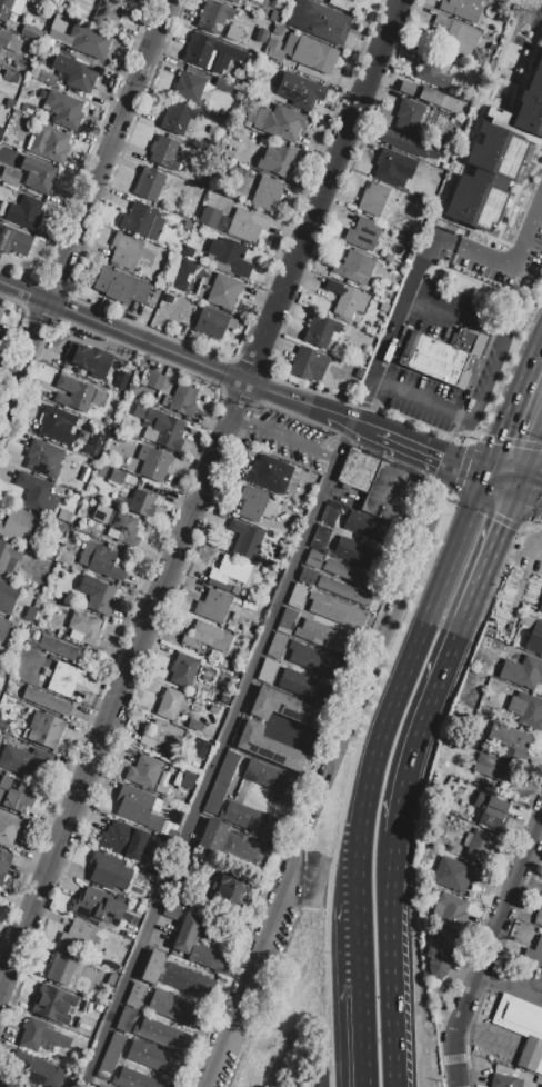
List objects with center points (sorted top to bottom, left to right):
building: (233, 1)
building: (343, 4)
building: (10, 8)
building: (462, 9)
building: (107, 13)
building: (273, 14)
building: (213, 16)
building: (319, 20)
building: (278, 29)
building: (31, 32)
building: (232, 33)
building: (261, 34)
building: (77, 37)
building: (455, 37)
building: (9, 41)
building: (303, 52)
building: (210, 53)
building: (431, 69)
building: (80, 78)
building: (188, 87)
building: (223, 89)
building: (295, 91)
building: (429, 96)
building: (531, 97)
building: (63, 109)
building: (408, 116)
building: (177, 118)
building: (281, 122)
building: (49, 143)
building: (232, 143)
building: (406, 144)
building: (163, 152)
building: (229, 152)
building: (277, 161)
road: (334, 164)
building: (393, 167)
building: (37, 173)
building: (486, 174)
building: (9, 176)
building: (148, 185)
building: (248, 191)
building: (265, 193)
building: (373, 198)
road: (86, 211)
building: (24, 212)
building: (209, 217)
building: (138, 219)
building: (185, 226)
building: (245, 226)
building: (365, 235)
building: (12, 240)
parking lot: (502, 241)
building: (124, 251)
building: (188, 251)
building: (230, 256)
road: (503, 262)
building: (353, 265)
building: (392, 278)
building: (120, 286)
building: (223, 291)
building: (384, 297)
building: (168, 298)
building: (347, 298)
road: (414, 301)
building: (384, 310)
building: (1, 311)
road: (401, 316)
street lamp: (529, 317)
building: (213, 322)
building: (320, 331)
road: (161, 349)
building: (438, 356)
parking lot: (498, 358)
building: (91, 360)
road: (504, 361)
building: (308, 365)
road: (491, 377)
road: (248, 378)
building: (152, 380)
road: (381, 383)
building: (120, 386)
building: (131, 390)
building: (77, 393)
building: (182, 399)
road: (363, 402)
building: (160, 403)
road: (518, 413)
road: (350, 423)
building: (56, 425)
building: (160, 425)
building: (103, 429)
road: (284, 439)
parking lot: (291, 441)
road: (506, 447)
building: (92, 450)
road: (433, 457)
building: (43, 458)
road: (531, 462)
building: (152, 463)
building: (349, 467)
road: (463, 472)
building: (269, 473)
building: (364, 473)
building: (398, 473)
traffic signals: (493, 475)
building: (116, 476)
road: (506, 480)
building: (393, 483)
traffic signals: (520, 487)
road: (531, 490)
building: (37, 493)
building: (389, 496)
building: (141, 502)
building: (254, 505)
building: (383, 510)
building: (99, 511)
building: (330, 513)
road: (535, 513)
building: (62, 515)
road: (485, 518)
building: (19, 525)
road: (535, 525)
building: (369, 527)
building: (122, 528)
building: (244, 538)
building: (320, 539)
building: (8, 554)
building: (360, 555)
building: (313, 559)
building: (100, 560)
building: (228, 572)
building: (350, 574)
building: (307, 575)
building: (342, 590)
building: (97, 594)
building: (297, 595)
building: (7, 596)
building: (212, 605)
building: (540, 605)
building: (337, 610)
building: (29, 614)
building: (287, 620)
building: (2, 627)
building: (86, 627)
road: (454, 634)
building: (323, 636)
building: (205, 637)
building: (534, 638)
building: (277, 645)
building: (61, 649)
building: (315, 661)
building: (267, 669)
building: (183, 670)
building: (522, 671)
building: (64, 679)
road: (401, 685)
building: (307, 687)
road: (363, 687)
building: (46, 701)
building: (169, 702)
road: (114, 708)
building: (283, 708)
building: (526, 709)
building: (194, 725)
building: (43, 728)
building: (161, 736)
building: (511, 739)
building: (197, 747)
building: (268, 747)
road: (219, 755)
building: (23, 760)
building: (489, 767)
building: (143, 770)
building: (272, 781)
building: (221, 782)
road: (345, 786)
road: (419, 794)
building: (18, 795)
road: (401, 805)
building: (490, 805)
building: (138, 808)
building: (250, 819)
building: (9, 828)
building: (122, 839)
building: (481, 845)
building: (232, 846)
building: (3, 862)
building: (190, 870)
building: (109, 871)
building: (455, 874)
road: (321, 877)
building: (229, 892)
road: (294, 894)
building: (433, 894)
building: (541, 902)
building: (97, 905)
building: (171, 909)
building: (449, 911)
building: (538, 918)
building: (103, 926)
building: (108, 936)
building: (77, 937)
building: (181, 943)
road: (355, 949)
building: (439, 951)
road: (488, 951)
building: (534, 951)
road: (395, 955)
building: (152, 967)
building: (61, 968)
road: (513, 973)
parking lot: (519, 977)
building: (112, 981)
building: (187, 981)
building: (135, 995)
road: (247, 999)
building: (54, 1004)
building: (174, 1009)
building: (126, 1019)
building: (521, 1027)
building: (163, 1035)
building: (40, 1036)
road: (360, 1038)
building: (109, 1058)
building: (154, 1058)
road: (453, 1064)
road: (429, 1065)
building: (38, 1069)
road: (442, 1073)
building: (242, 1075)
building: (134, 1079)
building: (504, 1080)
building: (100, 1086)

